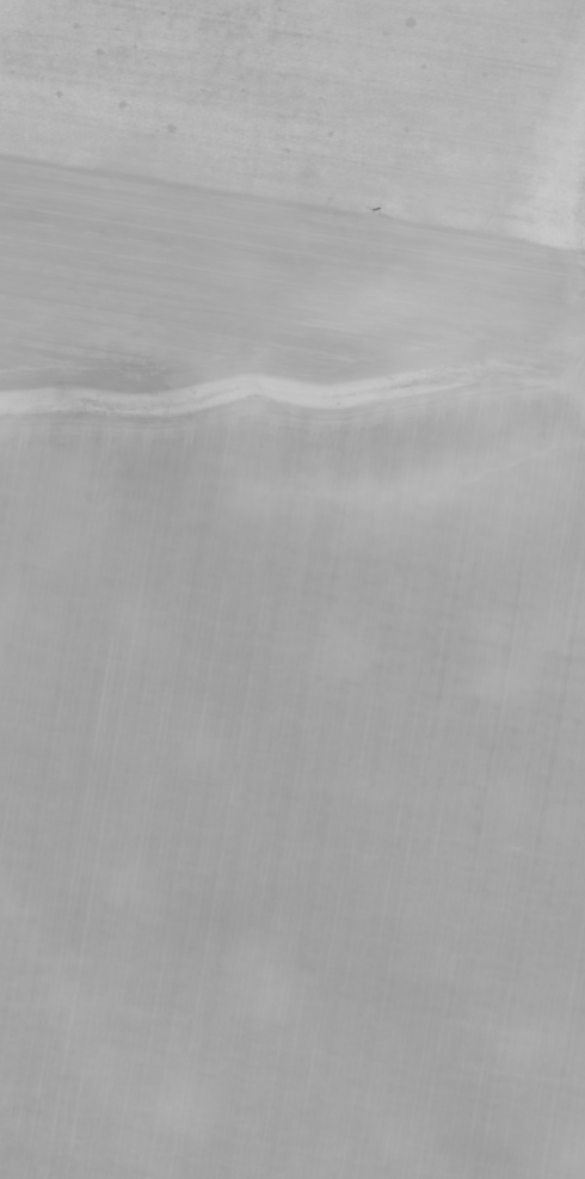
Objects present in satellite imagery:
road: (292, 240)

